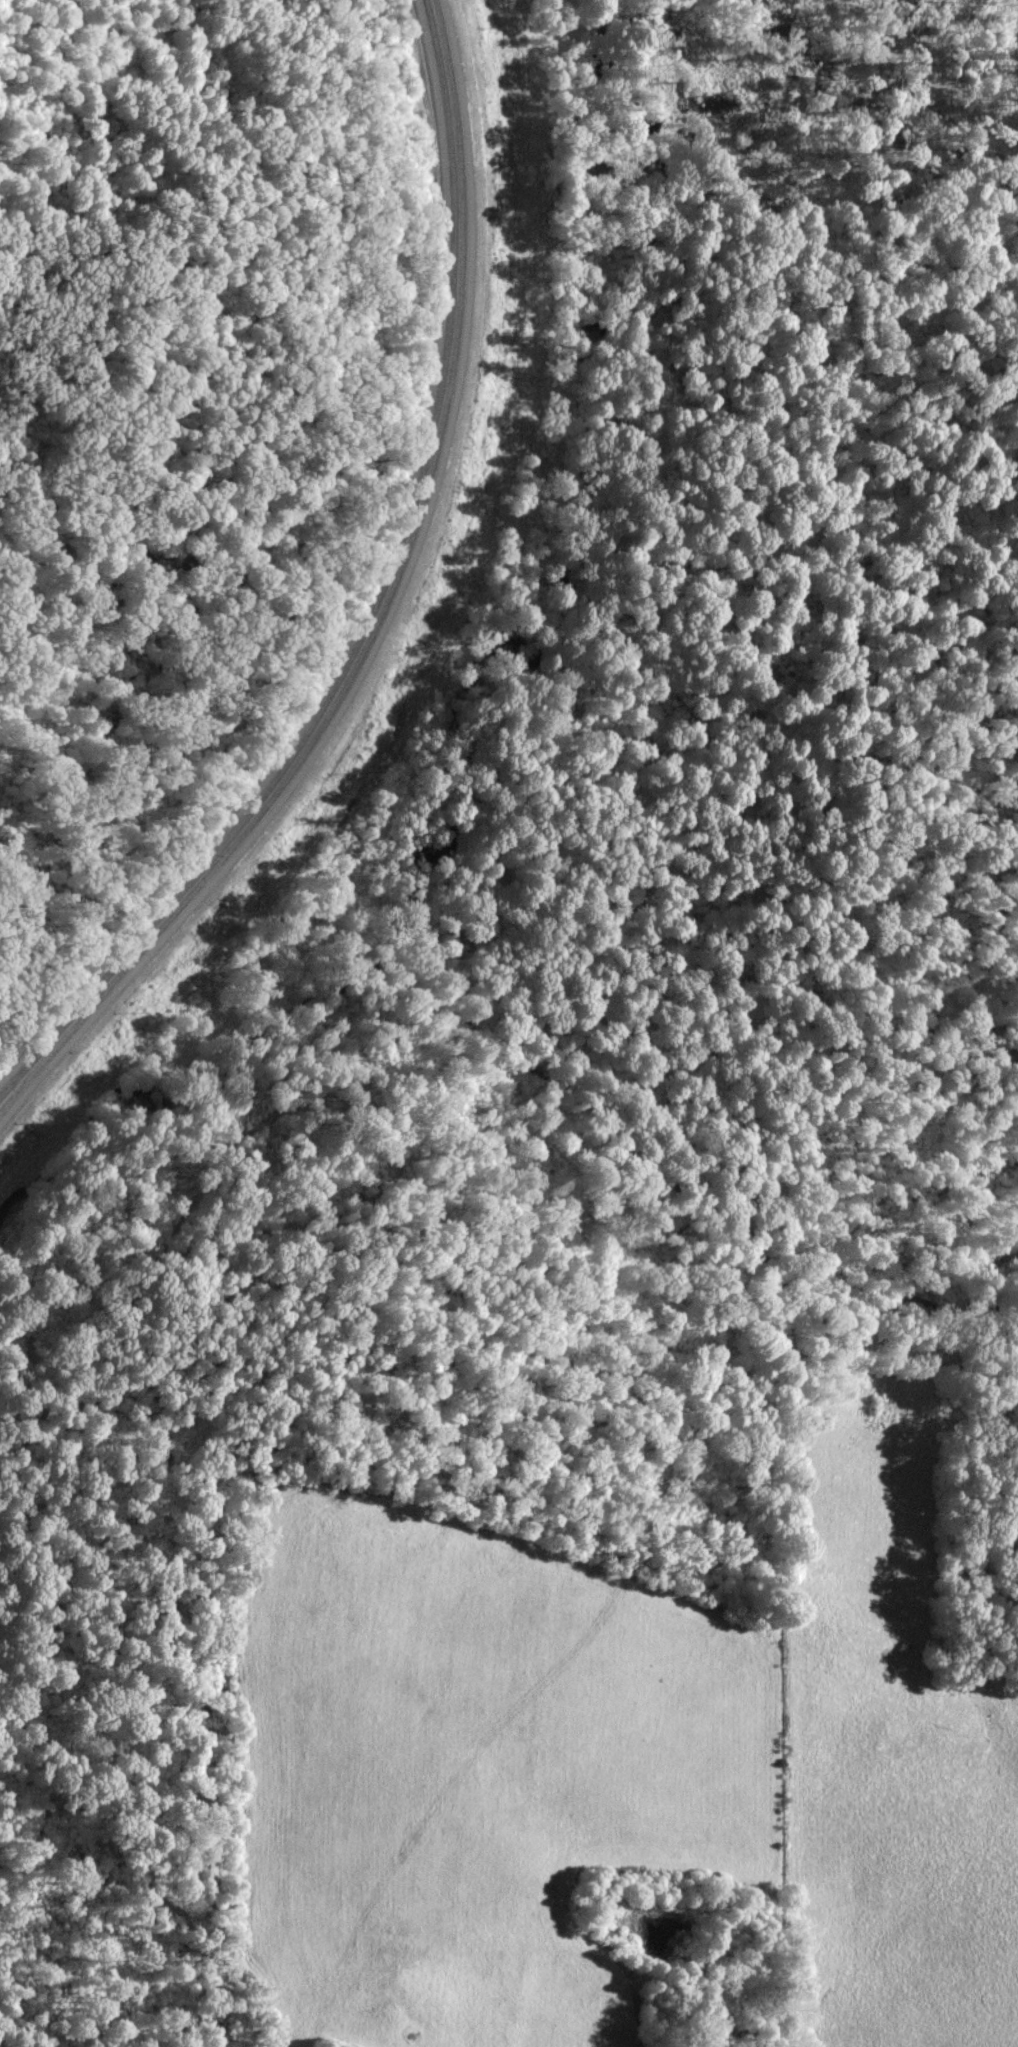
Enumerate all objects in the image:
road: (216, 414)
road: (375, 611)

